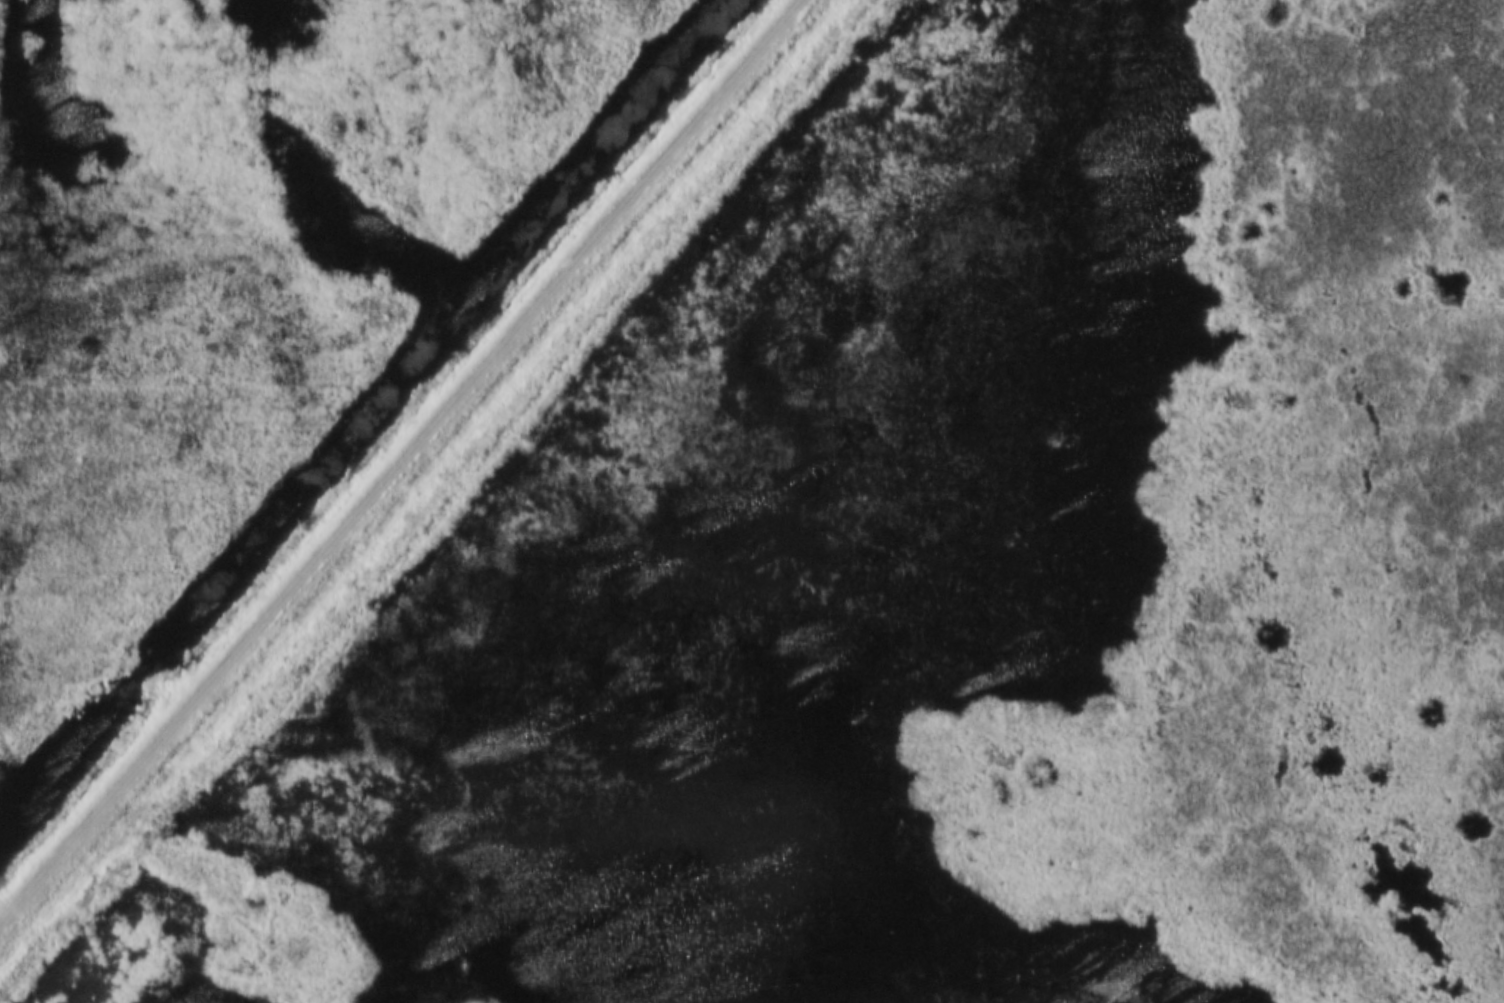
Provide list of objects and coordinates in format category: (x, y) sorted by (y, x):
road: (400, 460)
dam: (417, 478)

